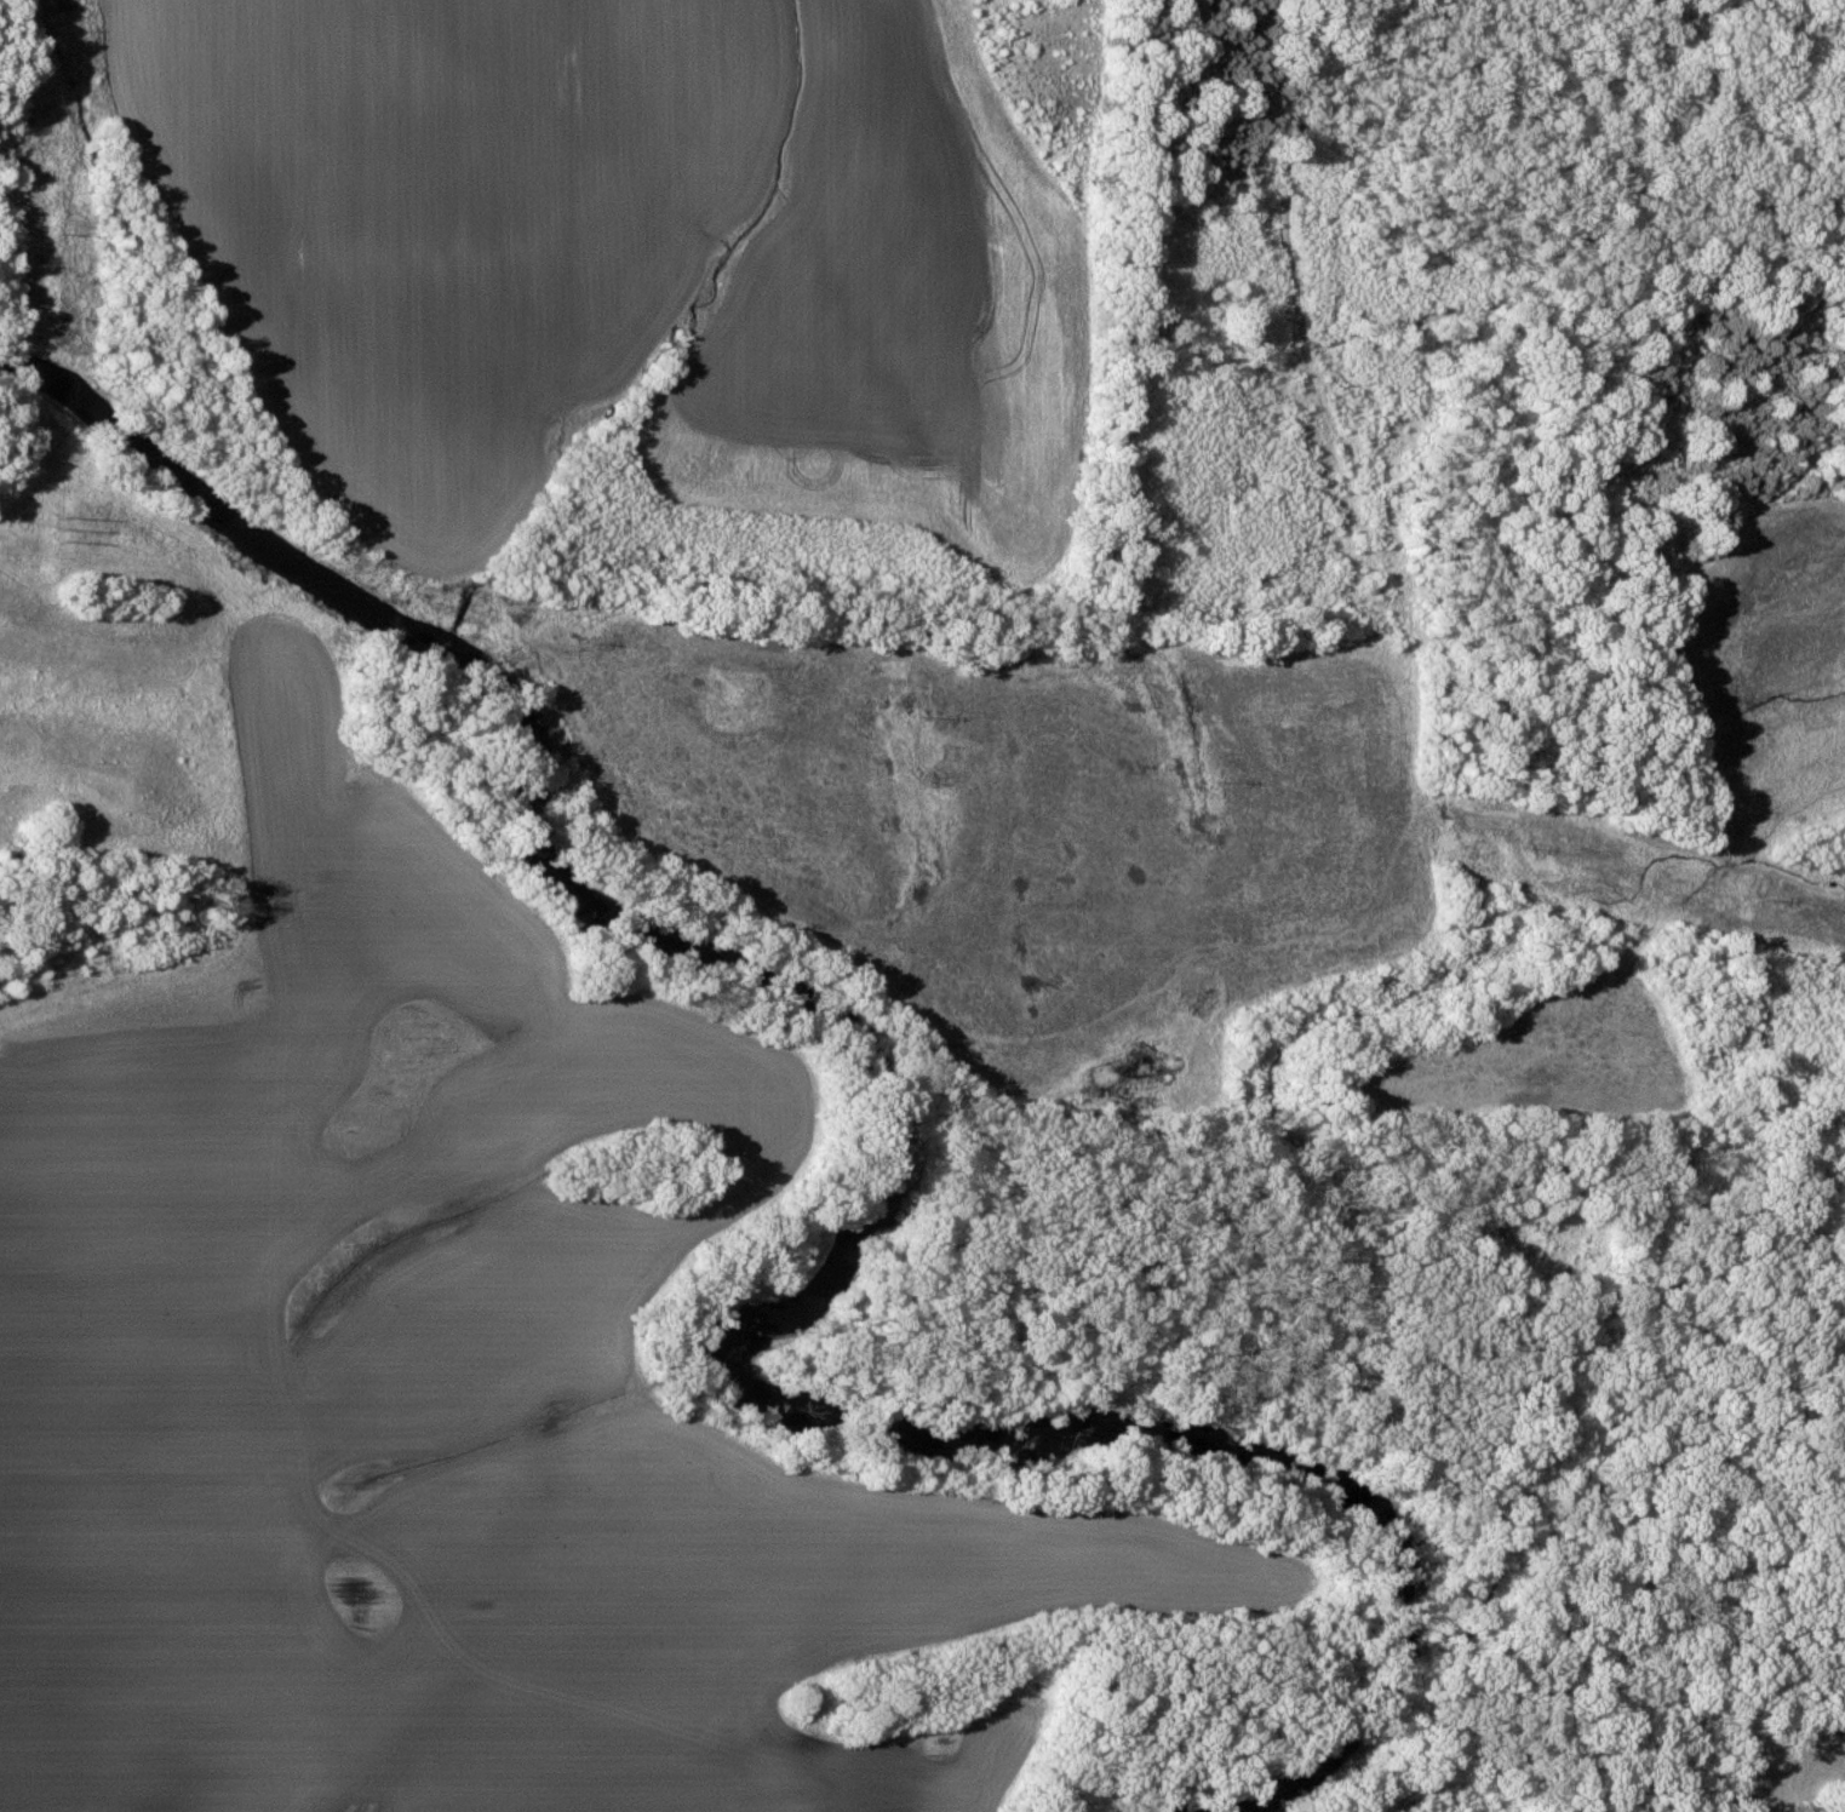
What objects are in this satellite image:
river: (872, 1199)

